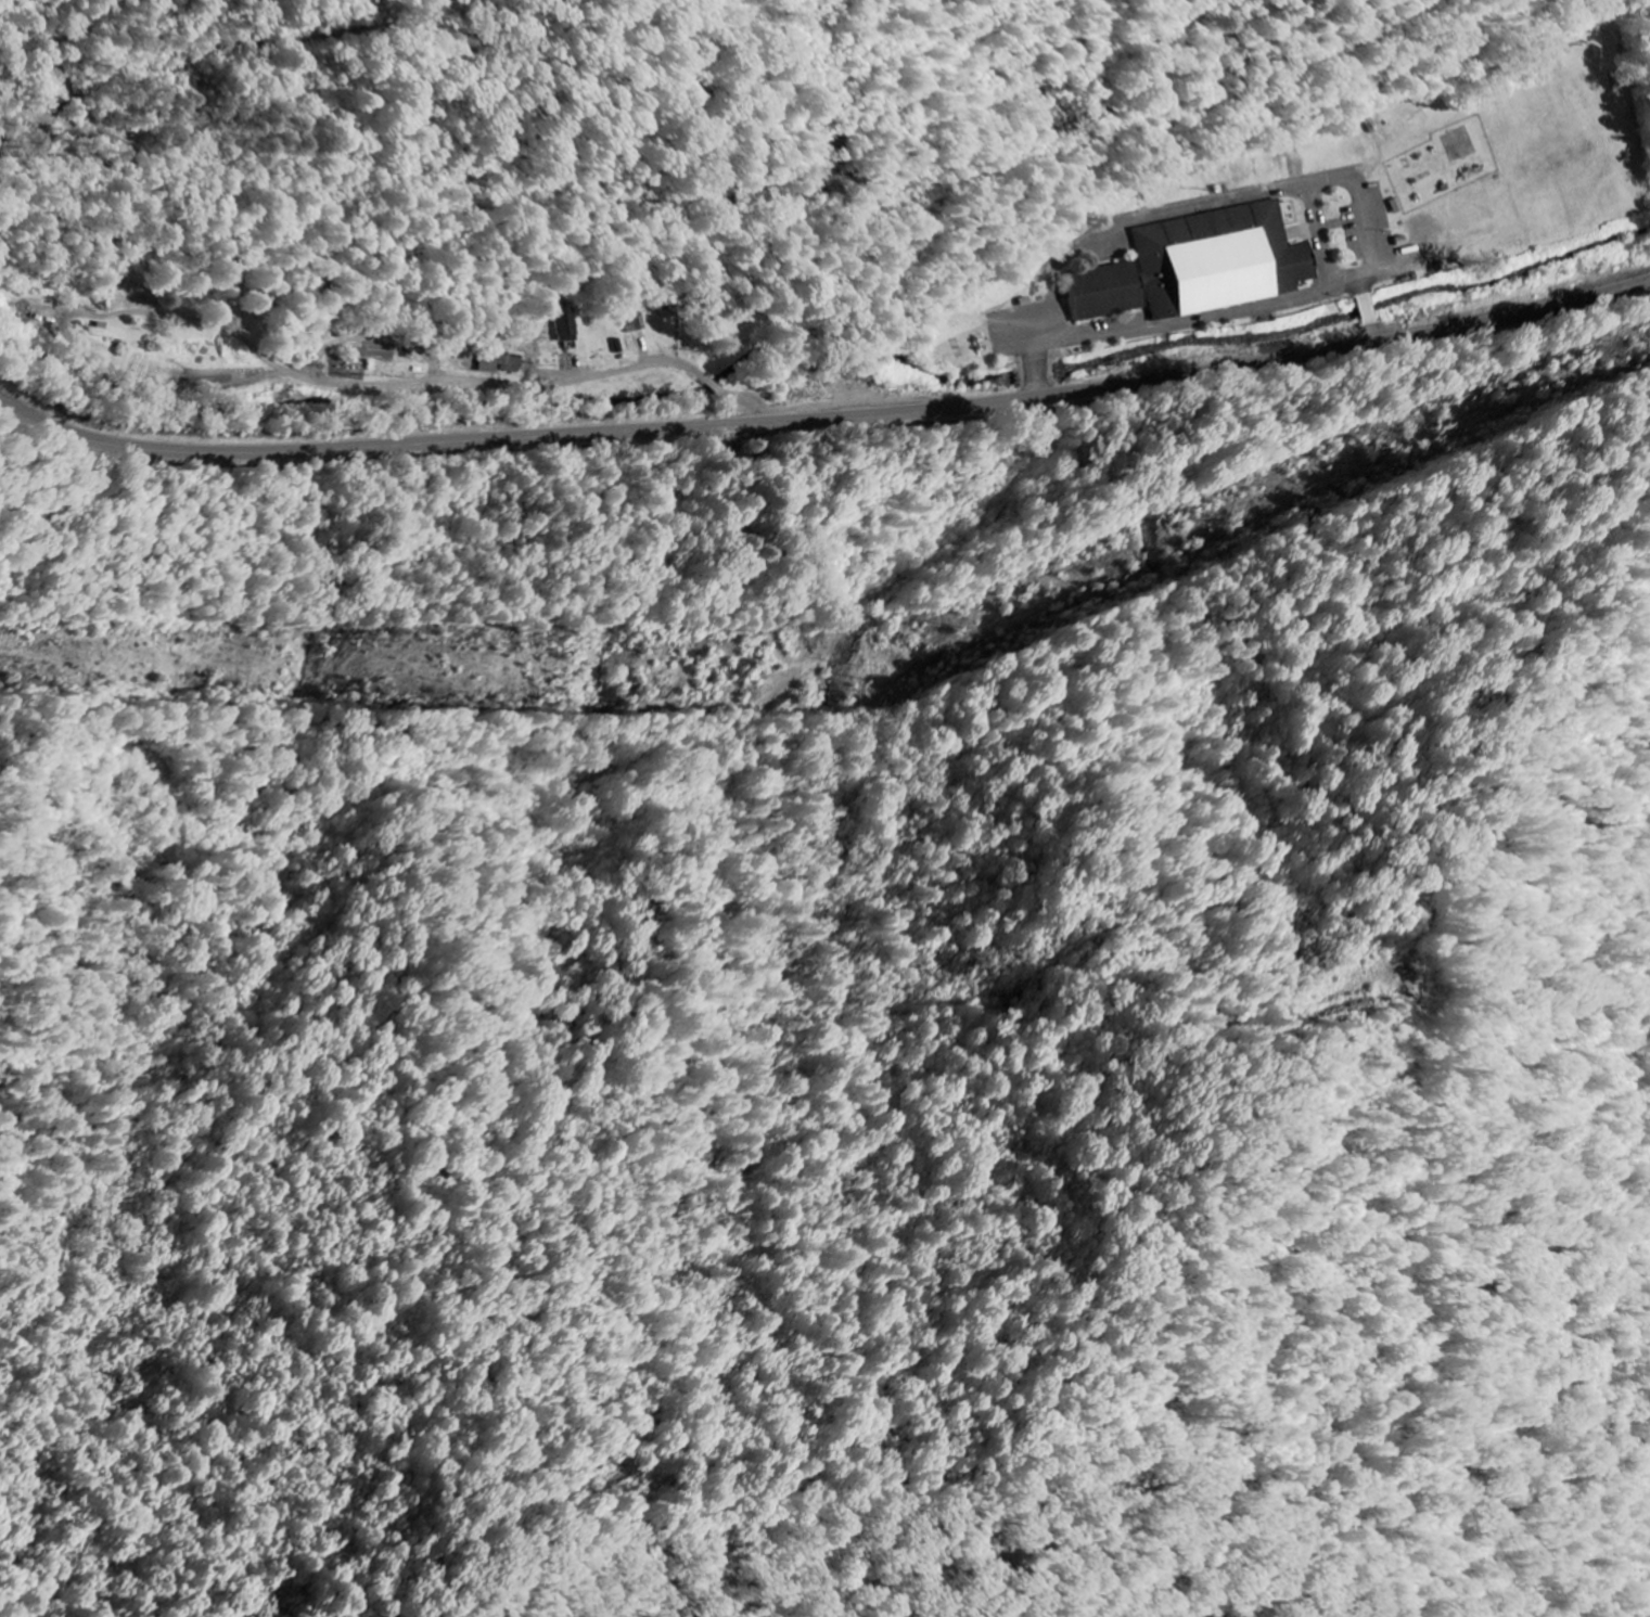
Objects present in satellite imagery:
building: (1218, 261)
building: (1101, 293)
building: (634, 323)
building: (564, 328)
building: (104, 334)
building: (487, 365)
road: (436, 381)
road: (826, 418)

